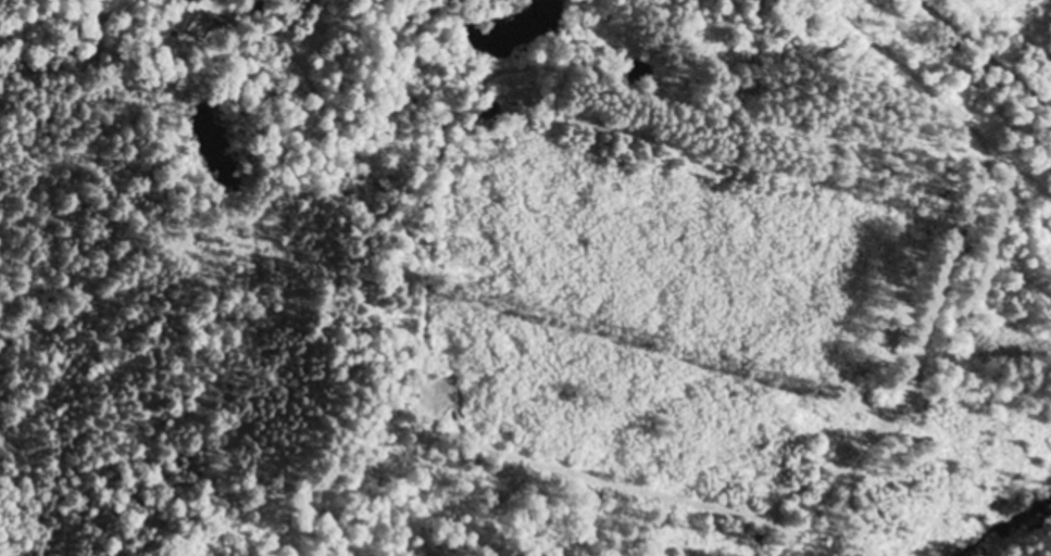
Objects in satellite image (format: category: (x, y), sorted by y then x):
road: (983, 54)

